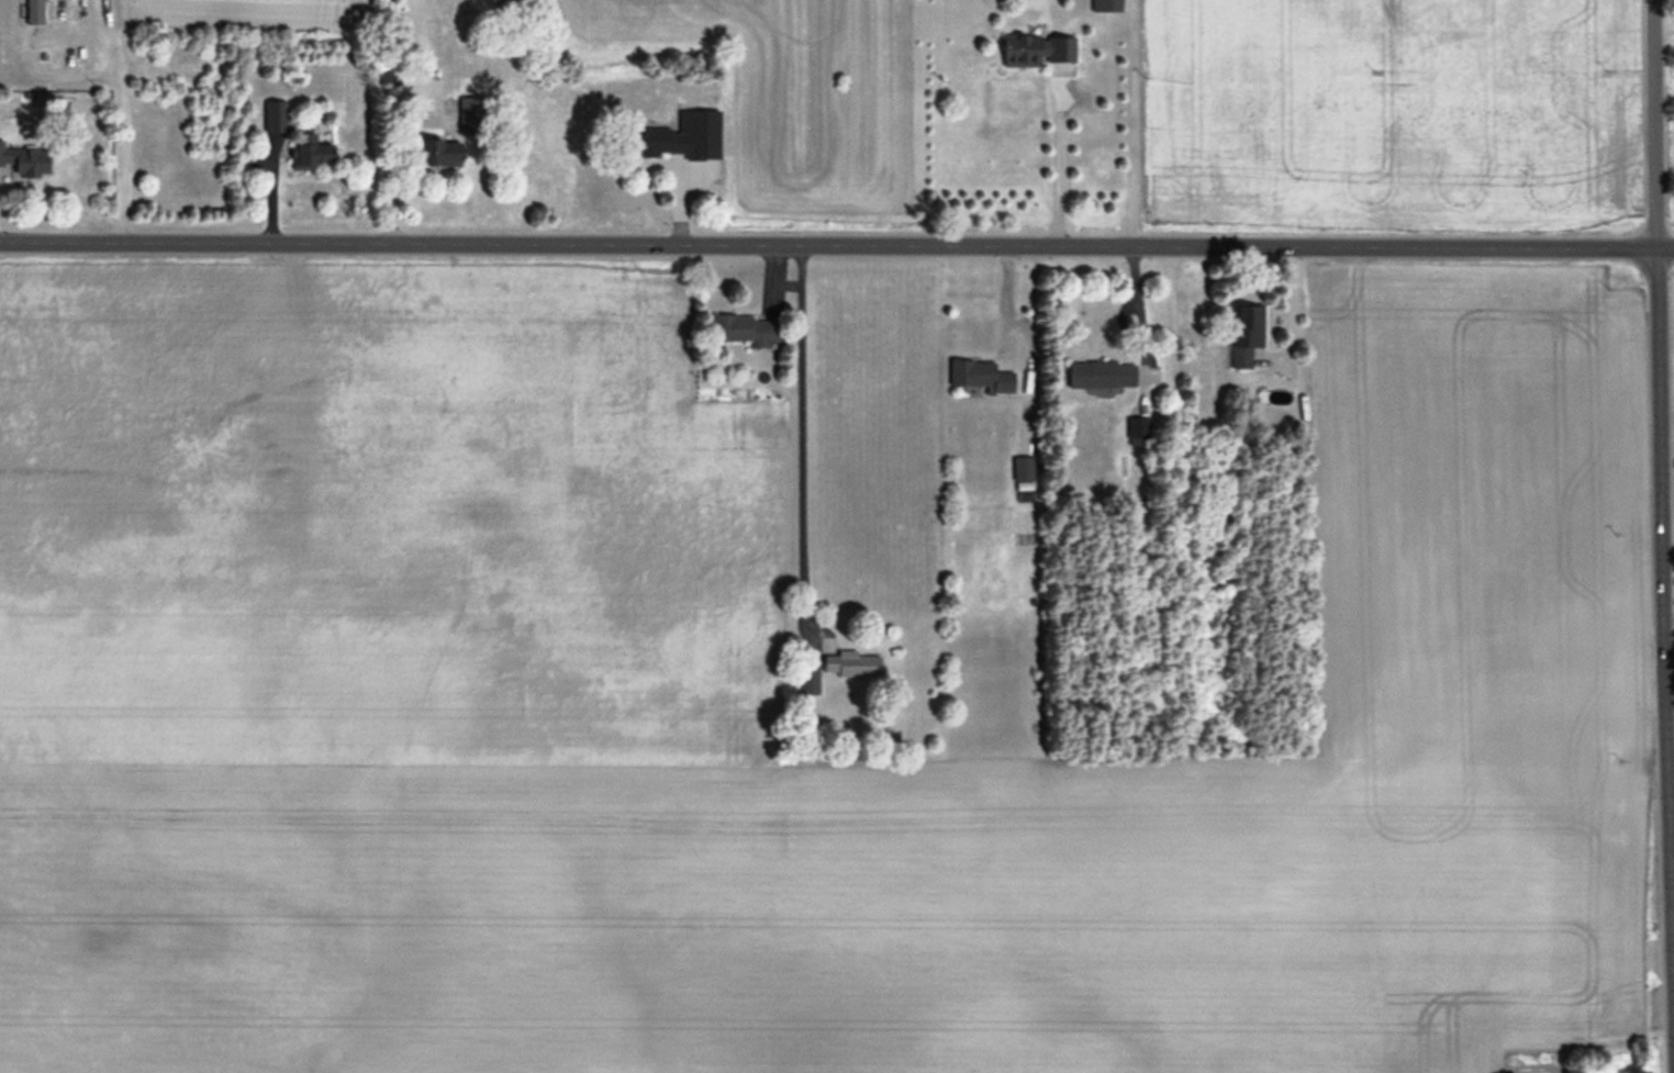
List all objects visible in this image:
building: (1107, 4)
building: (87, 20)
building: (13, 32)
building: (1039, 48)
building: (78, 54)
building: (470, 113)
building: (275, 114)
building: (652, 138)
building: (311, 149)
building: (439, 150)
building: (24, 159)
road: (1059, 163)
road: (837, 250)
building: (747, 329)
building: (1246, 331)
building: (1101, 373)
building: (981, 375)
building: (1138, 429)
road: (802, 438)
road: (1662, 456)
building: (1024, 467)
building: (851, 663)
building: (808, 679)

